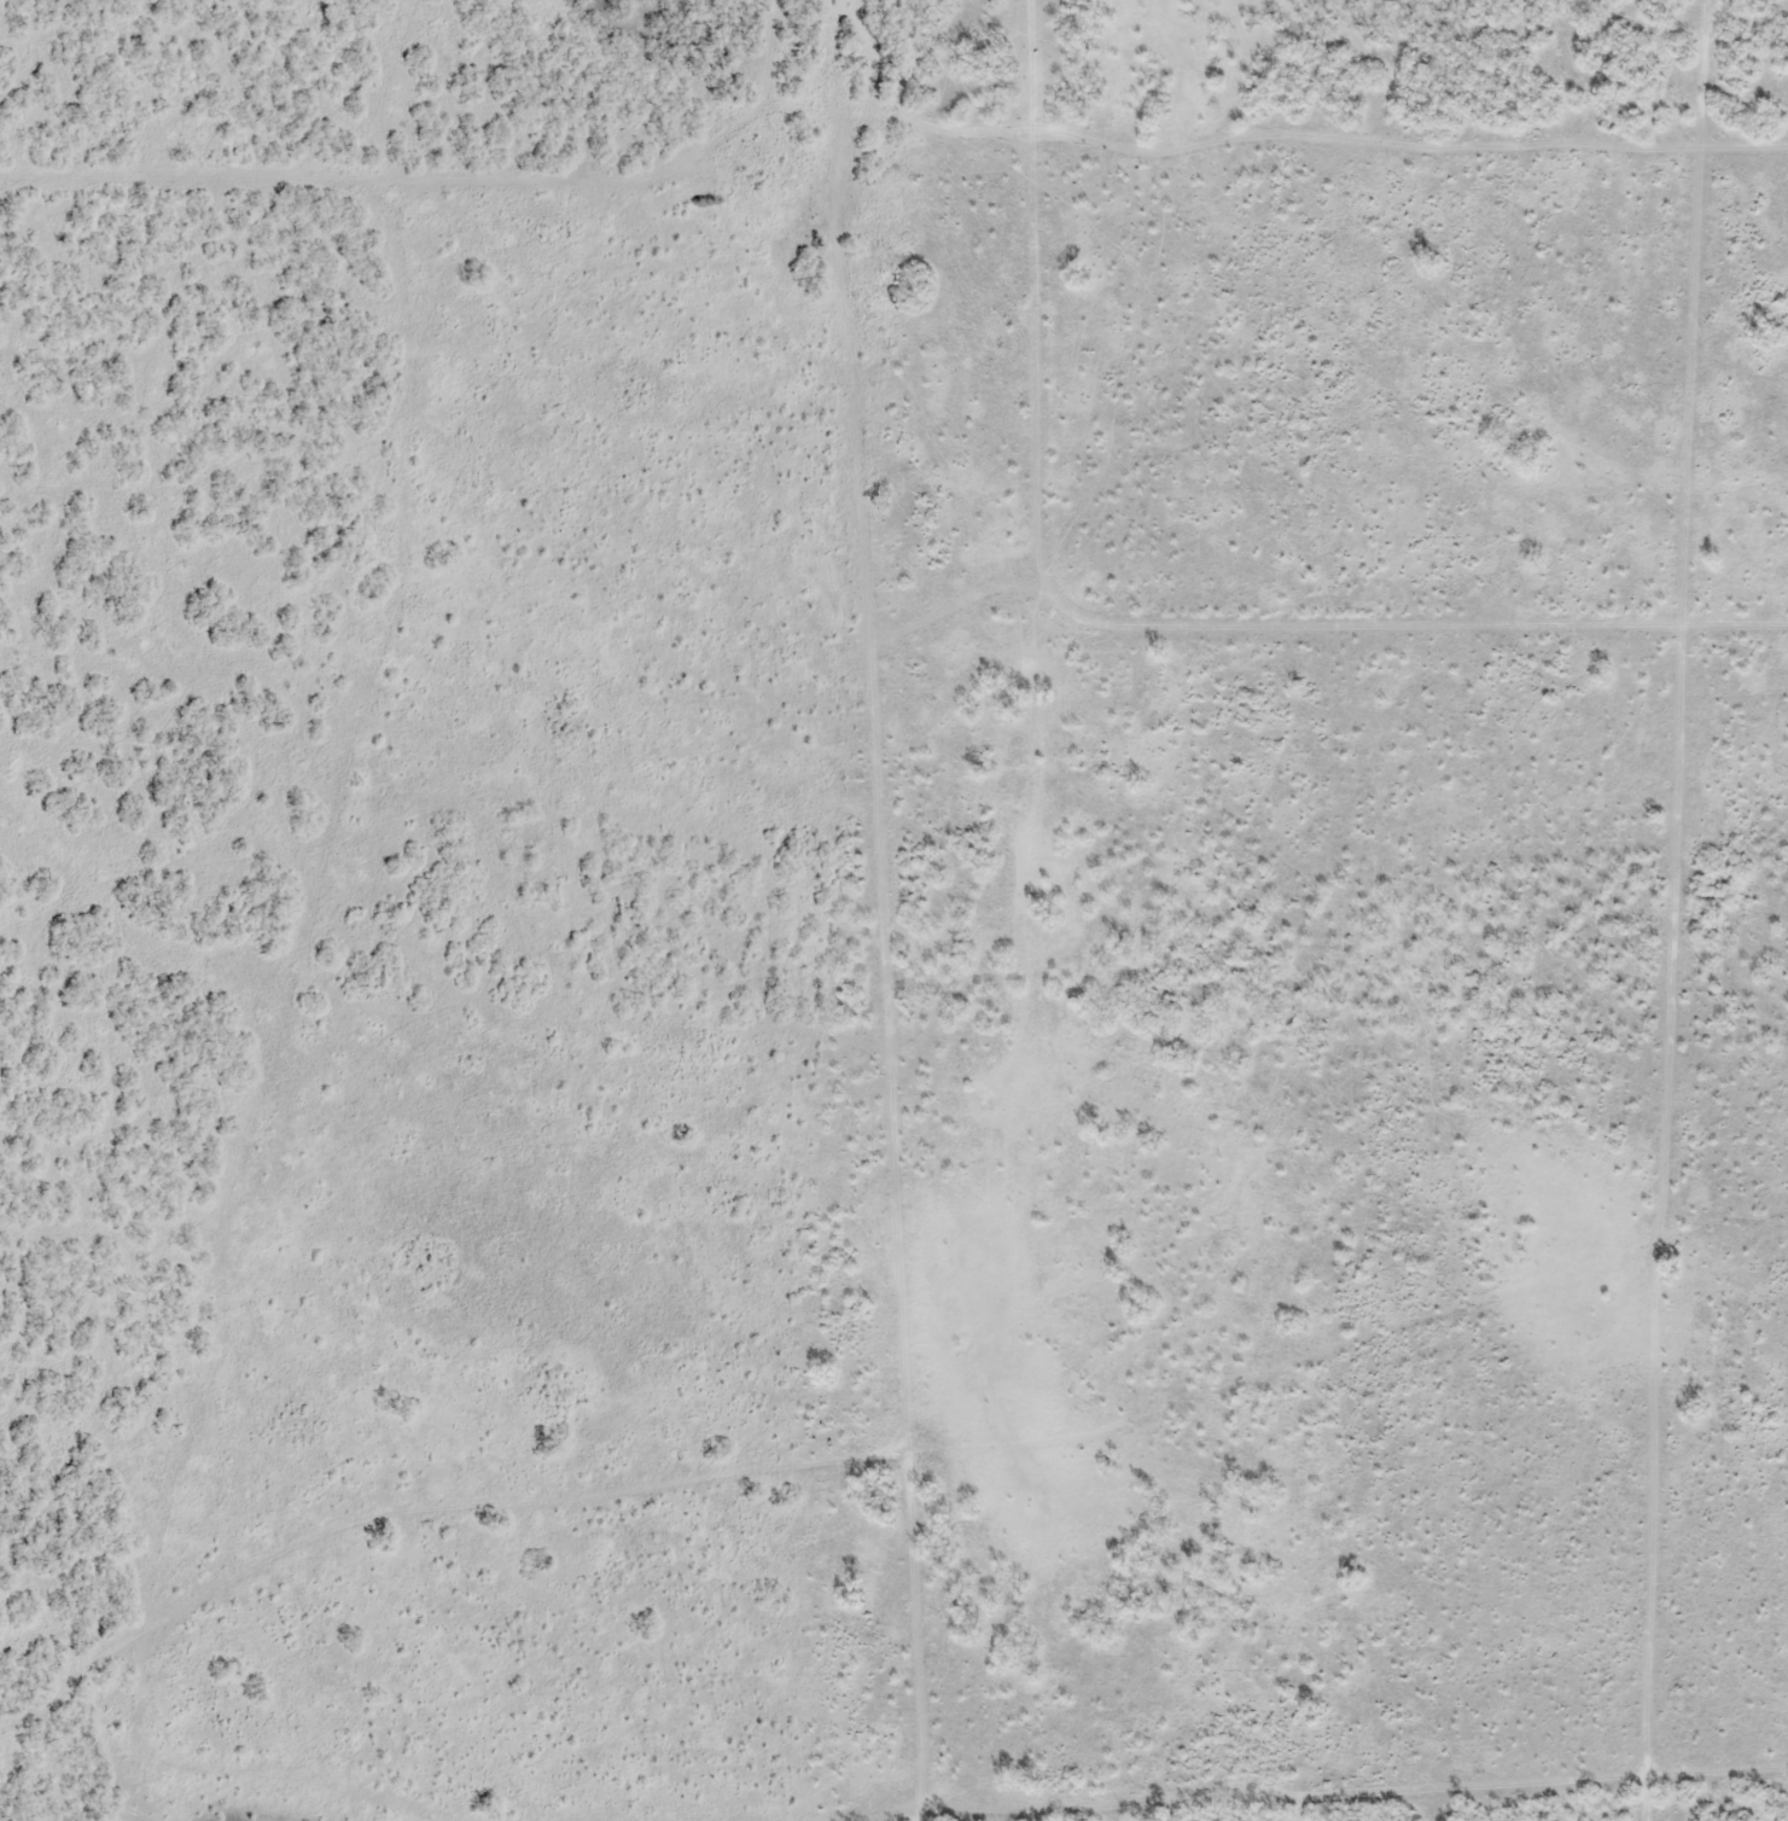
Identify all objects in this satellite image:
road: (890, 1395)

